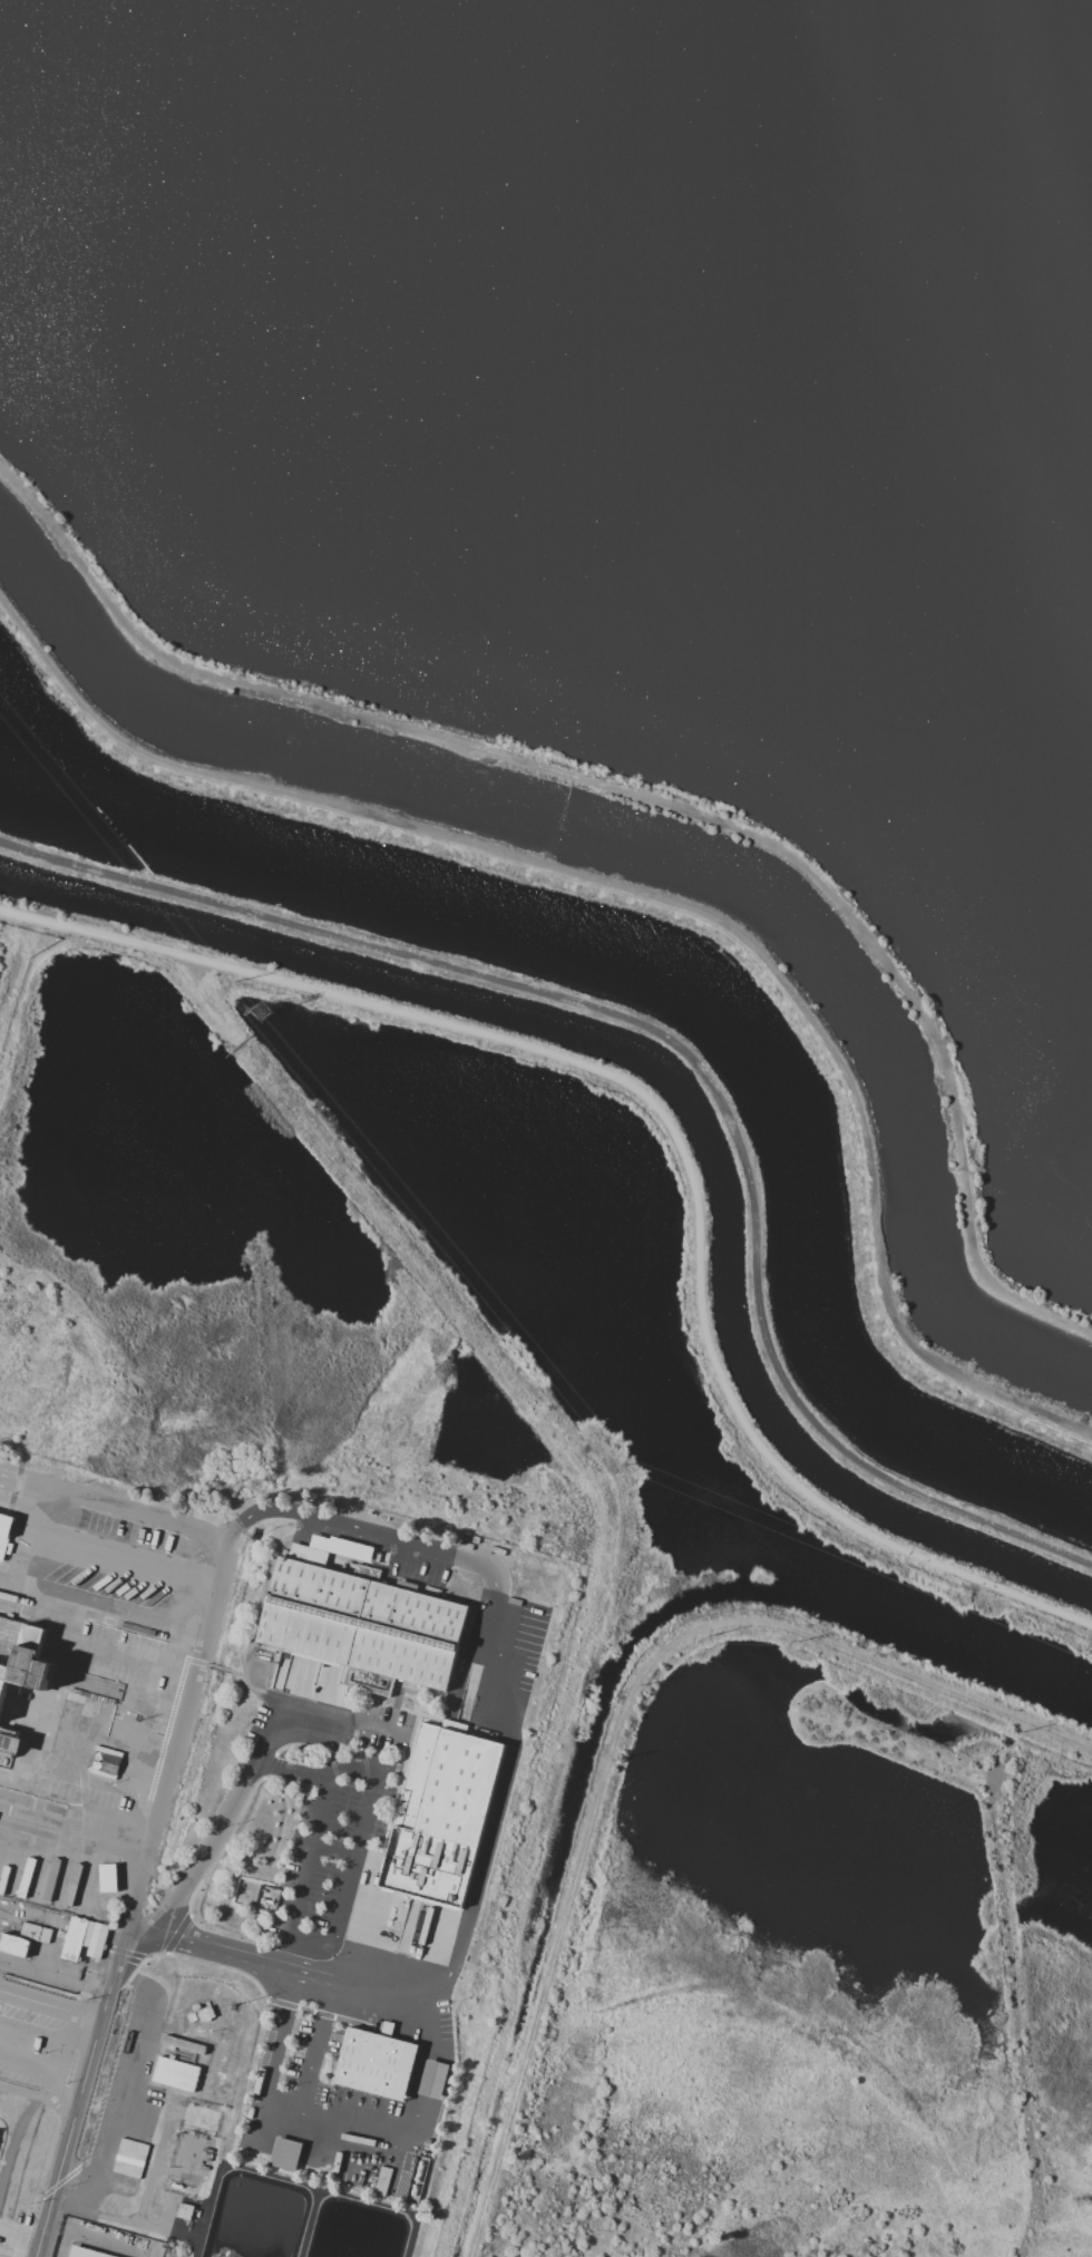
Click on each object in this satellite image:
road: (647, 795)
road: (660, 906)
power tower: (262, 1014)
road: (685, 1051)
road: (671, 1131)
power tower: (630, 1470)
road: (110, 1508)
road: (298, 1514)
building: (6, 1537)
road: (454, 1551)
road: (123, 1565)
building: (361, 1625)
road: (501, 1655)
road: (127, 1660)
building: (22, 1669)
road: (498, 1725)
road: (345, 1726)
road: (272, 1736)
road: (100, 1764)
road: (316, 1776)
road: (77, 1809)
building: (439, 1818)
road: (71, 1849)
road: (208, 1849)
road: (308, 1857)
road: (352, 1862)
road: (479, 1870)
building: (106, 1877)
road: (134, 1900)
building: (33, 1933)
building: (82, 1939)
building: (13, 1945)
road: (306, 1947)
road: (280, 1967)
road: (50, 2002)
road: (31, 2030)
road: (281, 2040)
building: (183, 2044)
road: (315, 2049)
road: (60, 2050)
road: (27, 2064)
building: (374, 2065)
building: (174, 2073)
road: (416, 2075)
building: (432, 2079)
road: (129, 2089)
road: (25, 2094)
road: (62, 2101)
road: (331, 2124)
building: (284, 2153)
road: (155, 2169)
building: (184, 2210)
road: (120, 2225)
building: (86, 2254)

